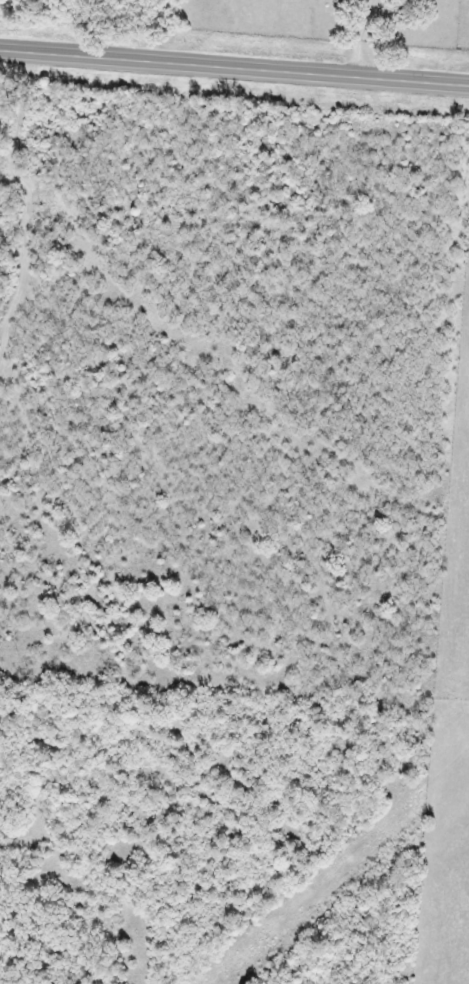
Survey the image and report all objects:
road: (234, 65)

